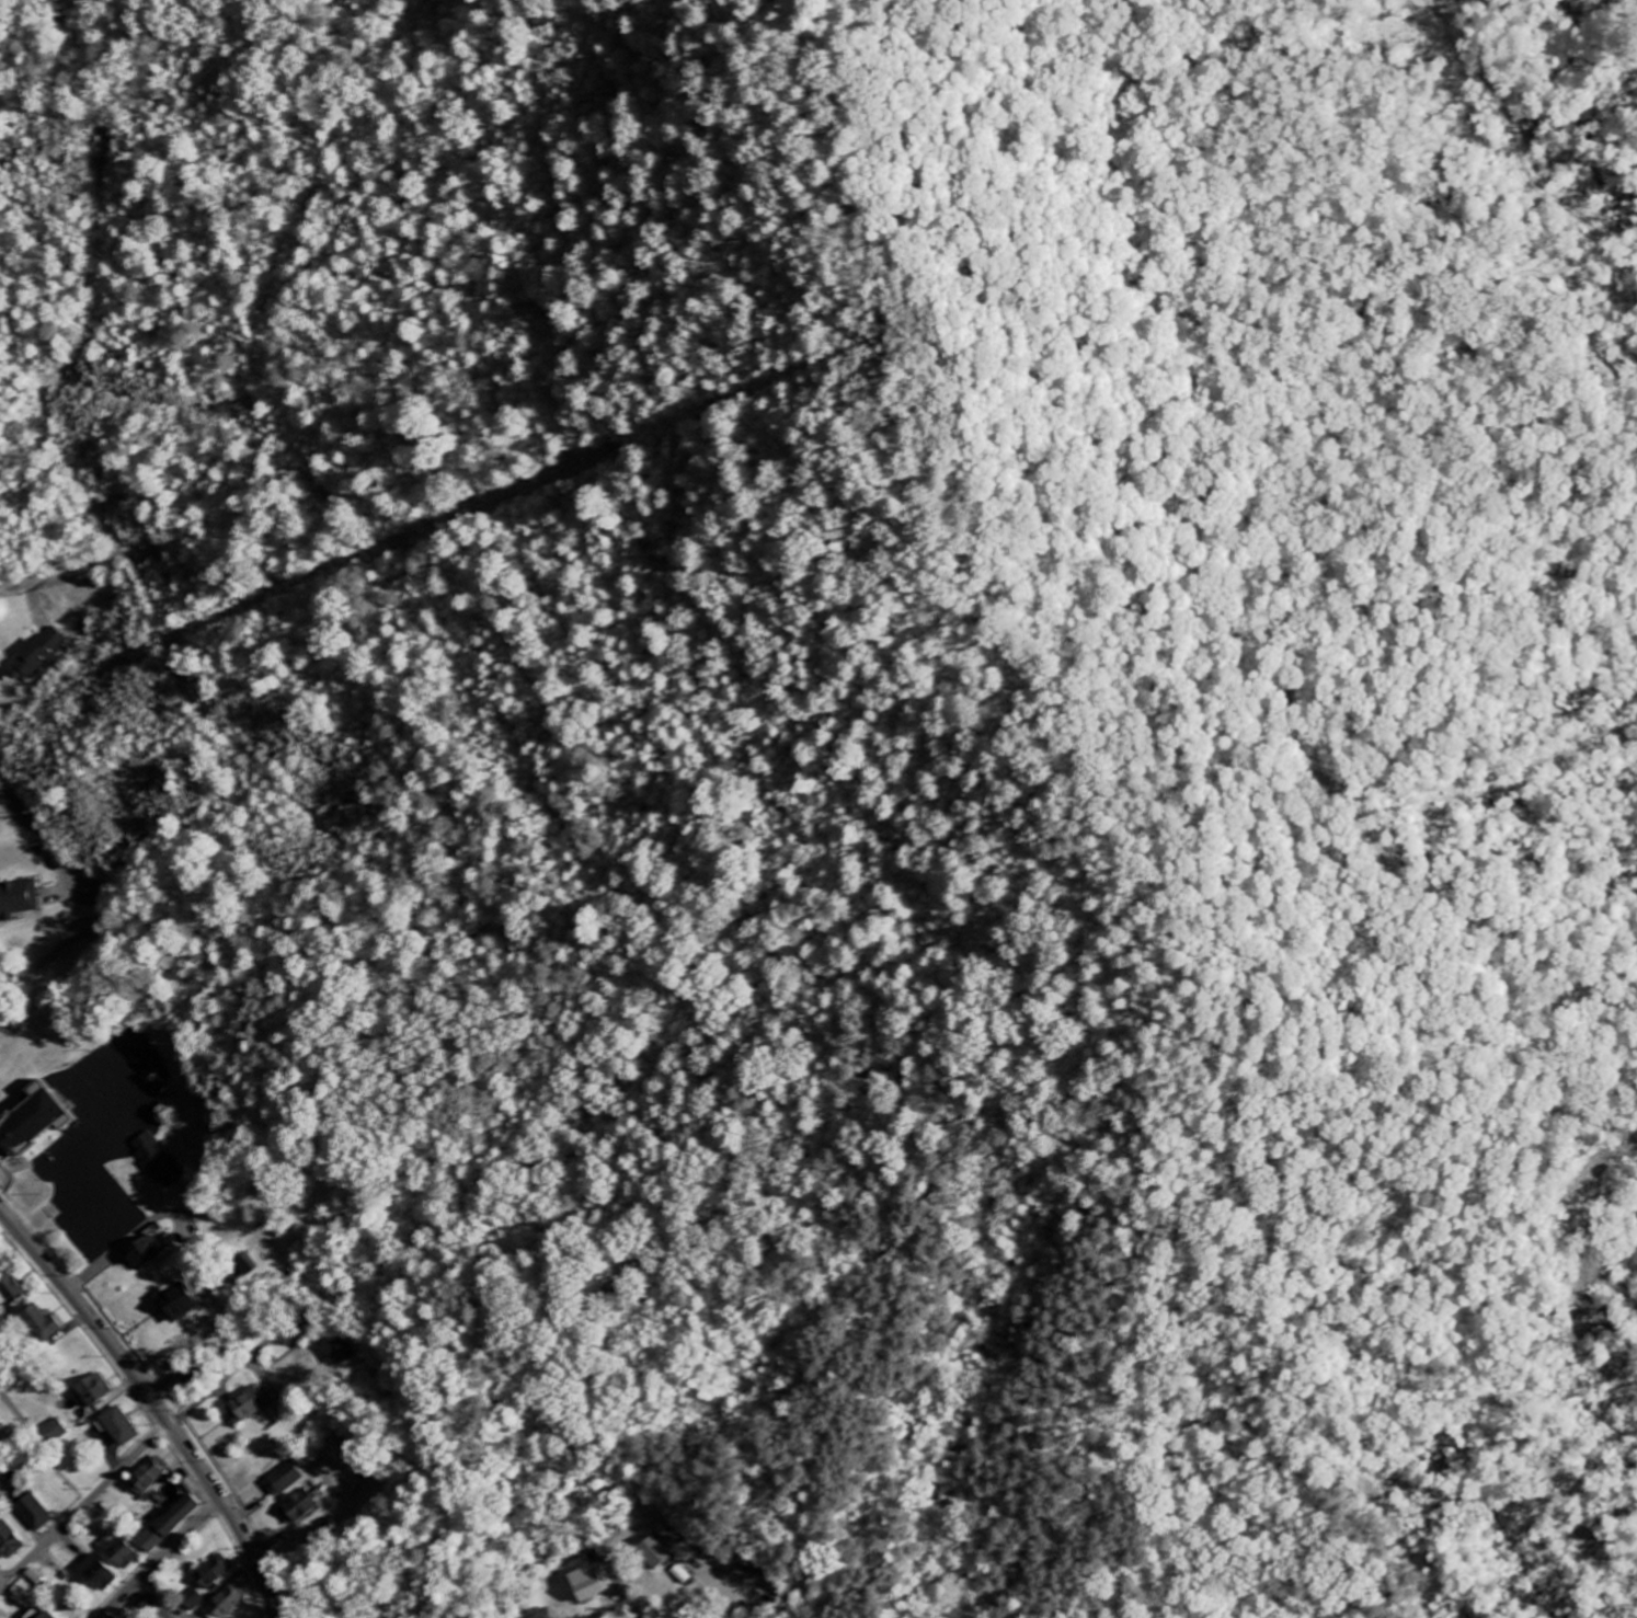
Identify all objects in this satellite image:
road: (60, 576)
building: (36, 656)
road: (41, 846)
building: (19, 900)
building: (144, 1053)
building: (34, 1125)
building: (160, 1161)
building: (145, 1253)
building: (248, 1269)
building: (11, 1292)
building: (180, 1304)
building: (46, 1324)
building: (344, 1352)
building: (192, 1376)
building: (95, 1391)
road: (156, 1402)
building: (253, 1403)
building: (122, 1426)
building: (57, 1432)
building: (5, 1434)
building: (151, 1474)
building: (287, 1479)
road: (85, 1506)
building: (300, 1507)
building: (36, 1513)
building: (171, 1524)
building: (10, 1541)
road: (980, 1546)
building: (123, 1552)
building: (655, 1552)
road: (162, 1558)
building: (215, 1572)
building: (100, 1574)
road: (4, 1575)
building: (38, 1576)
building: (589, 1584)
road: (636, 1602)
building: (228, 1603)
building: (191, 1605)
building: (39, 1613)

